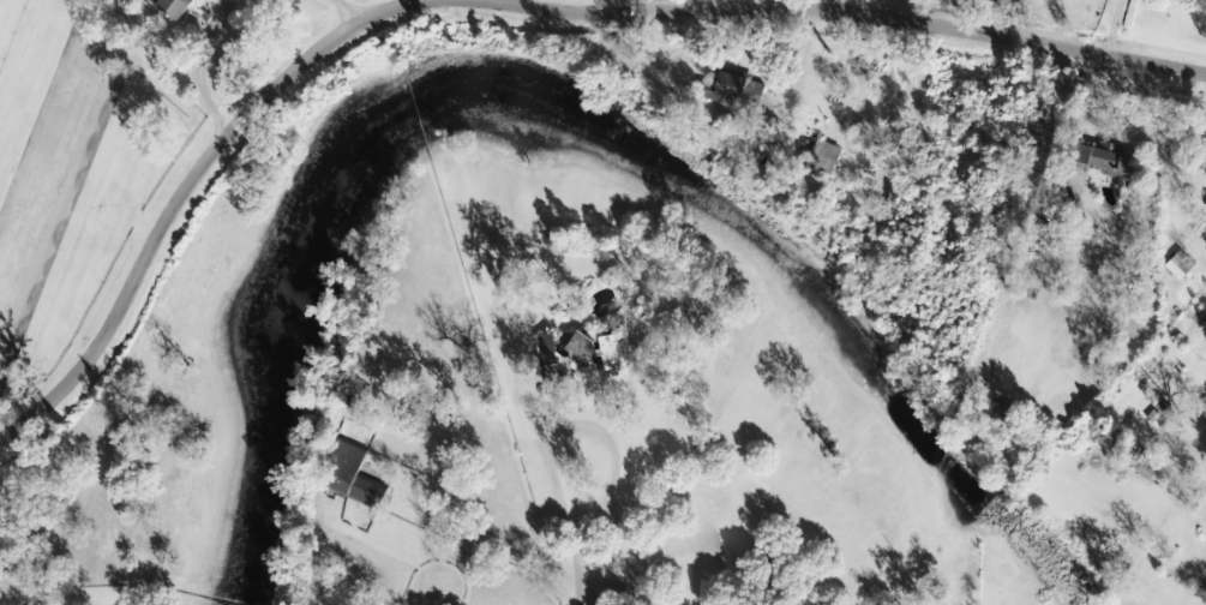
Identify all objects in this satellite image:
road: (785, 4)
road: (502, 5)
building: (176, 7)
road: (353, 8)
road: (799, 55)
building: (743, 90)
building: (828, 157)
building: (1111, 158)
building: (1183, 266)
building: (356, 475)
road: (580, 513)
road: (486, 549)

